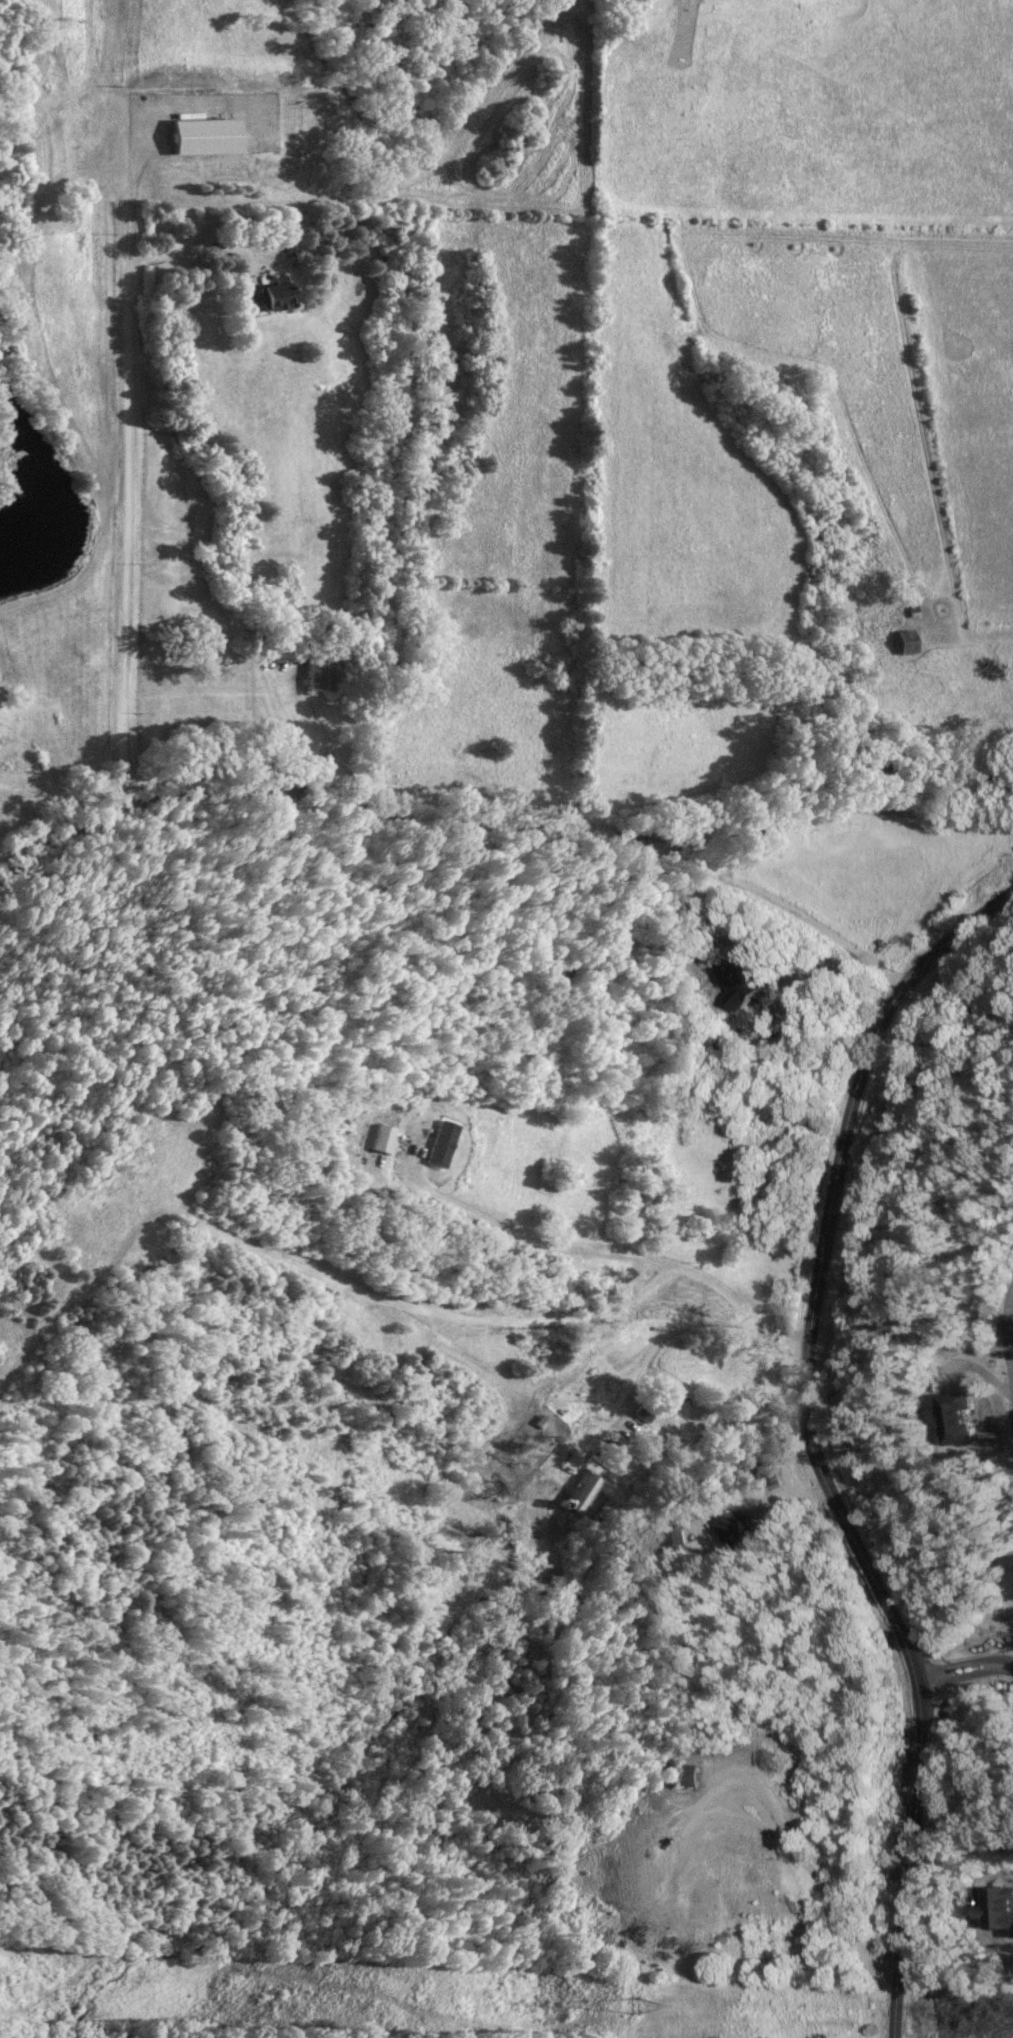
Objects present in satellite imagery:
building: (209, 135)
road: (234, 277)
building: (273, 299)
road: (128, 449)
building: (905, 641)
building: (322, 670)
road: (460, 797)
building: (385, 1139)
building: (444, 1143)
road: (622, 1253)
road: (651, 1350)
building: (670, 1401)
building: (961, 1419)
road: (813, 1442)
building: (568, 1461)
building: (770, 1477)
building: (578, 1491)
building: (730, 1525)
road: (968, 1664)
building: (688, 1776)
road: (815, 1877)
building: (1002, 1911)
power tower: (638, 2007)

